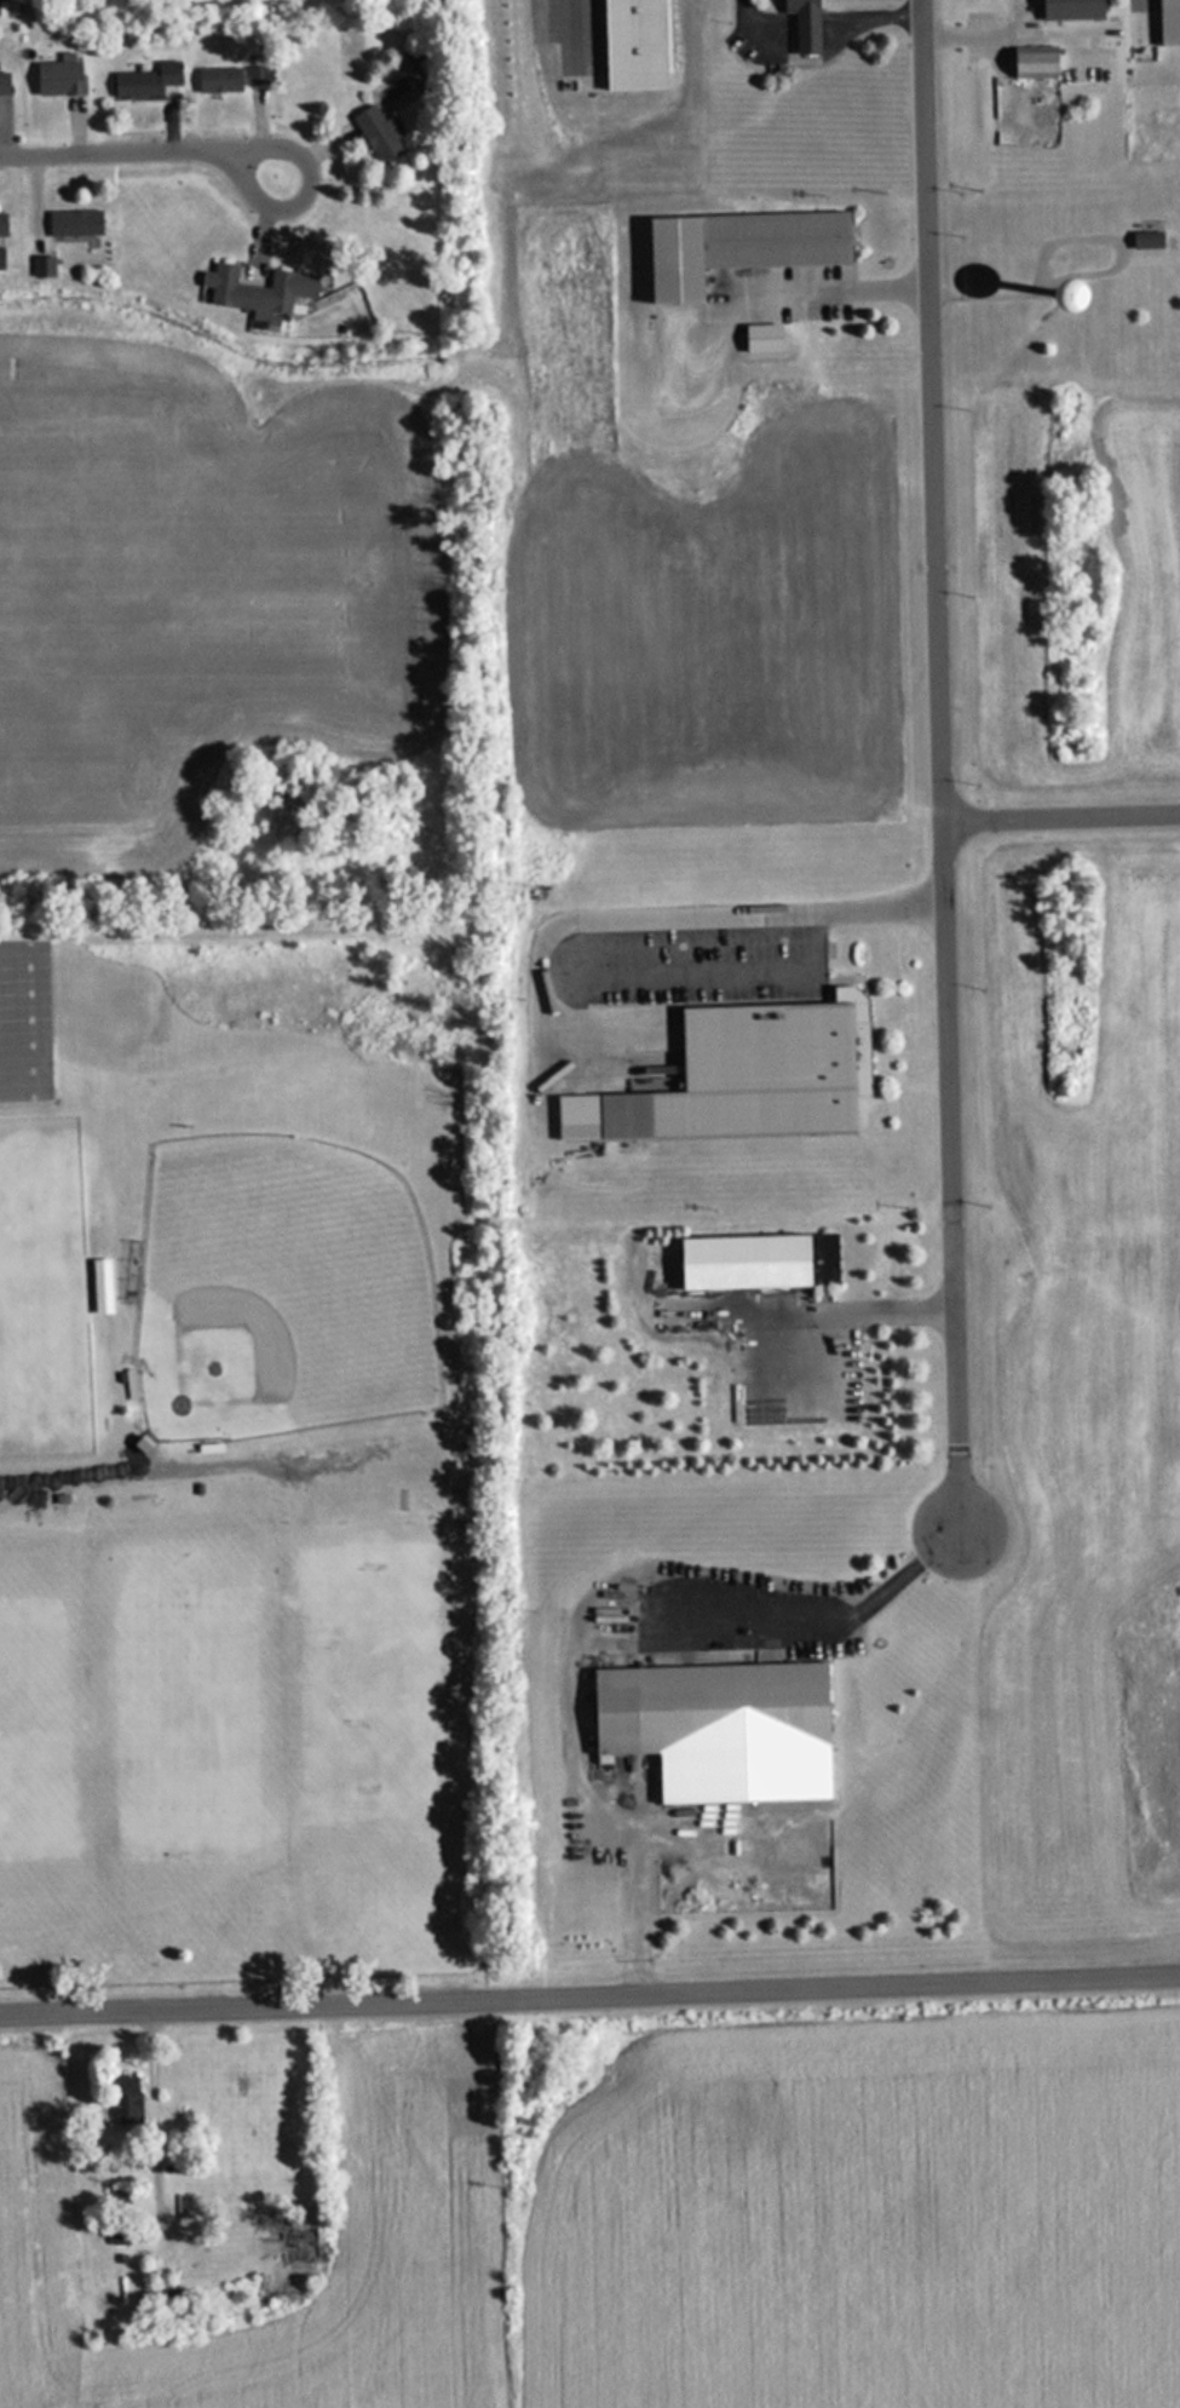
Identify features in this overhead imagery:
building: (1070, 8)
building: (1168, 22)
building: (802, 23)
building: (1032, 62)
building: (255, 74)
building: (414, 74)
building: (58, 76)
building: (217, 77)
building: (144, 79)
building: (2, 84)
building: (376, 132)
road: (143, 142)
building: (74, 222)
building: (2, 224)
building: (1145, 240)
building: (735, 247)
building: (0, 257)
building: (42, 265)
building: (257, 289)
water tower: (1067, 295)
road: (940, 766)
road: (1061, 812)
building: (754, 1071)
building: (755, 1259)
park: (278, 1292)
park: (38, 1293)
building: (208, 1444)
building: (707, 1707)
road: (589, 1992)
building: (126, 2099)
building: (117, 2237)
building: (293, 2243)

